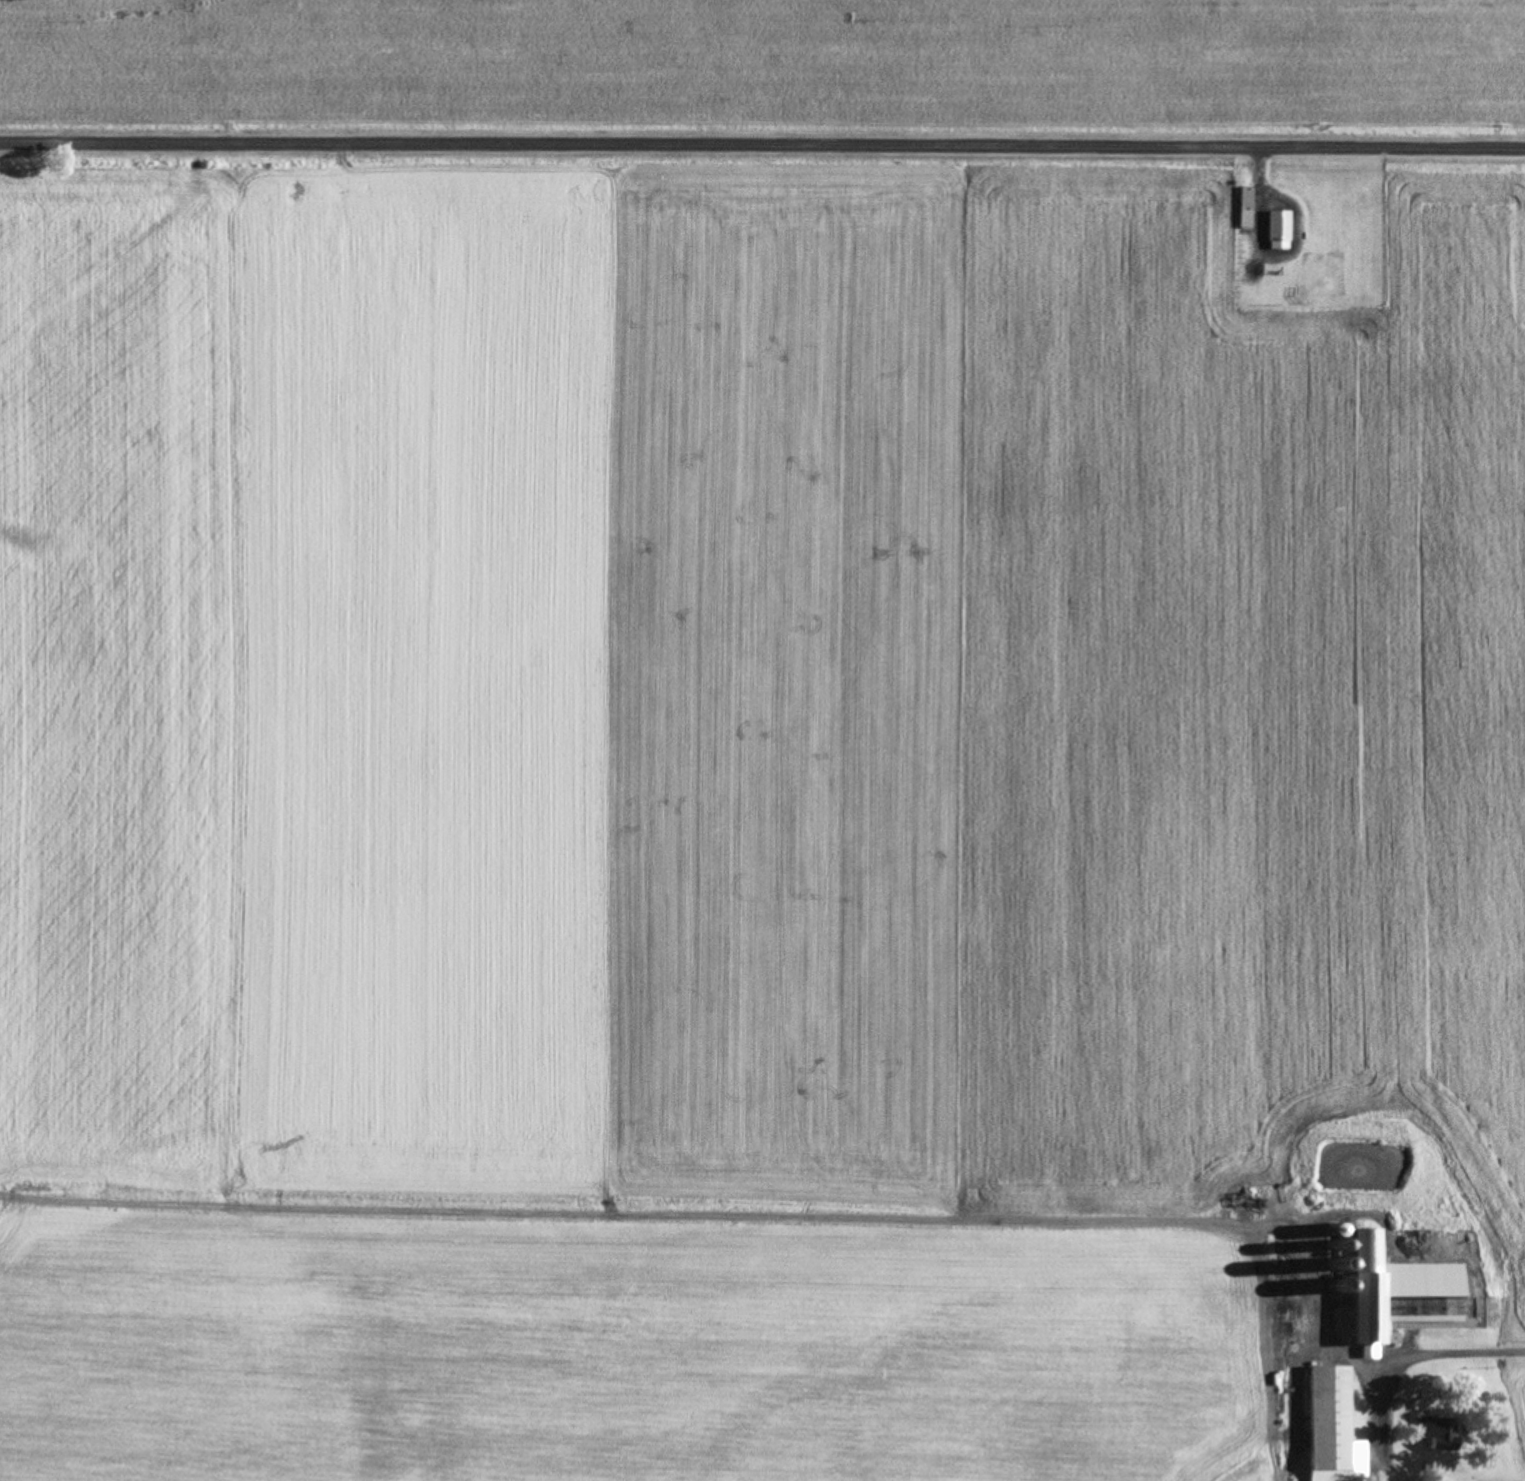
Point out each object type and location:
road: (762, 146)
building: (1243, 199)
building: (1275, 230)
building: (1390, 1291)
road: (1458, 1351)
building: (1329, 1428)
building: (1432, 1433)

